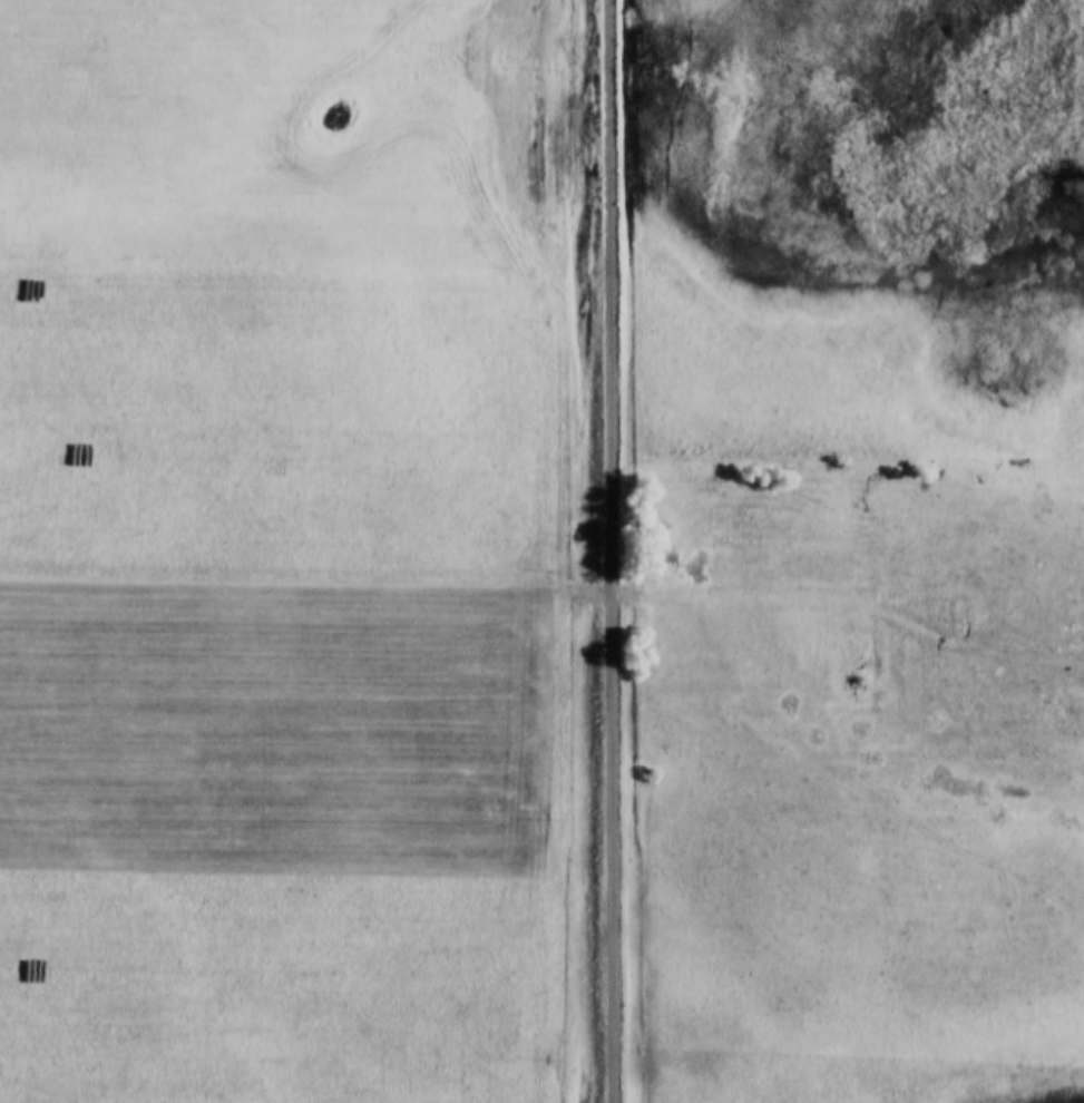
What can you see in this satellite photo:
road: (607, 551)

